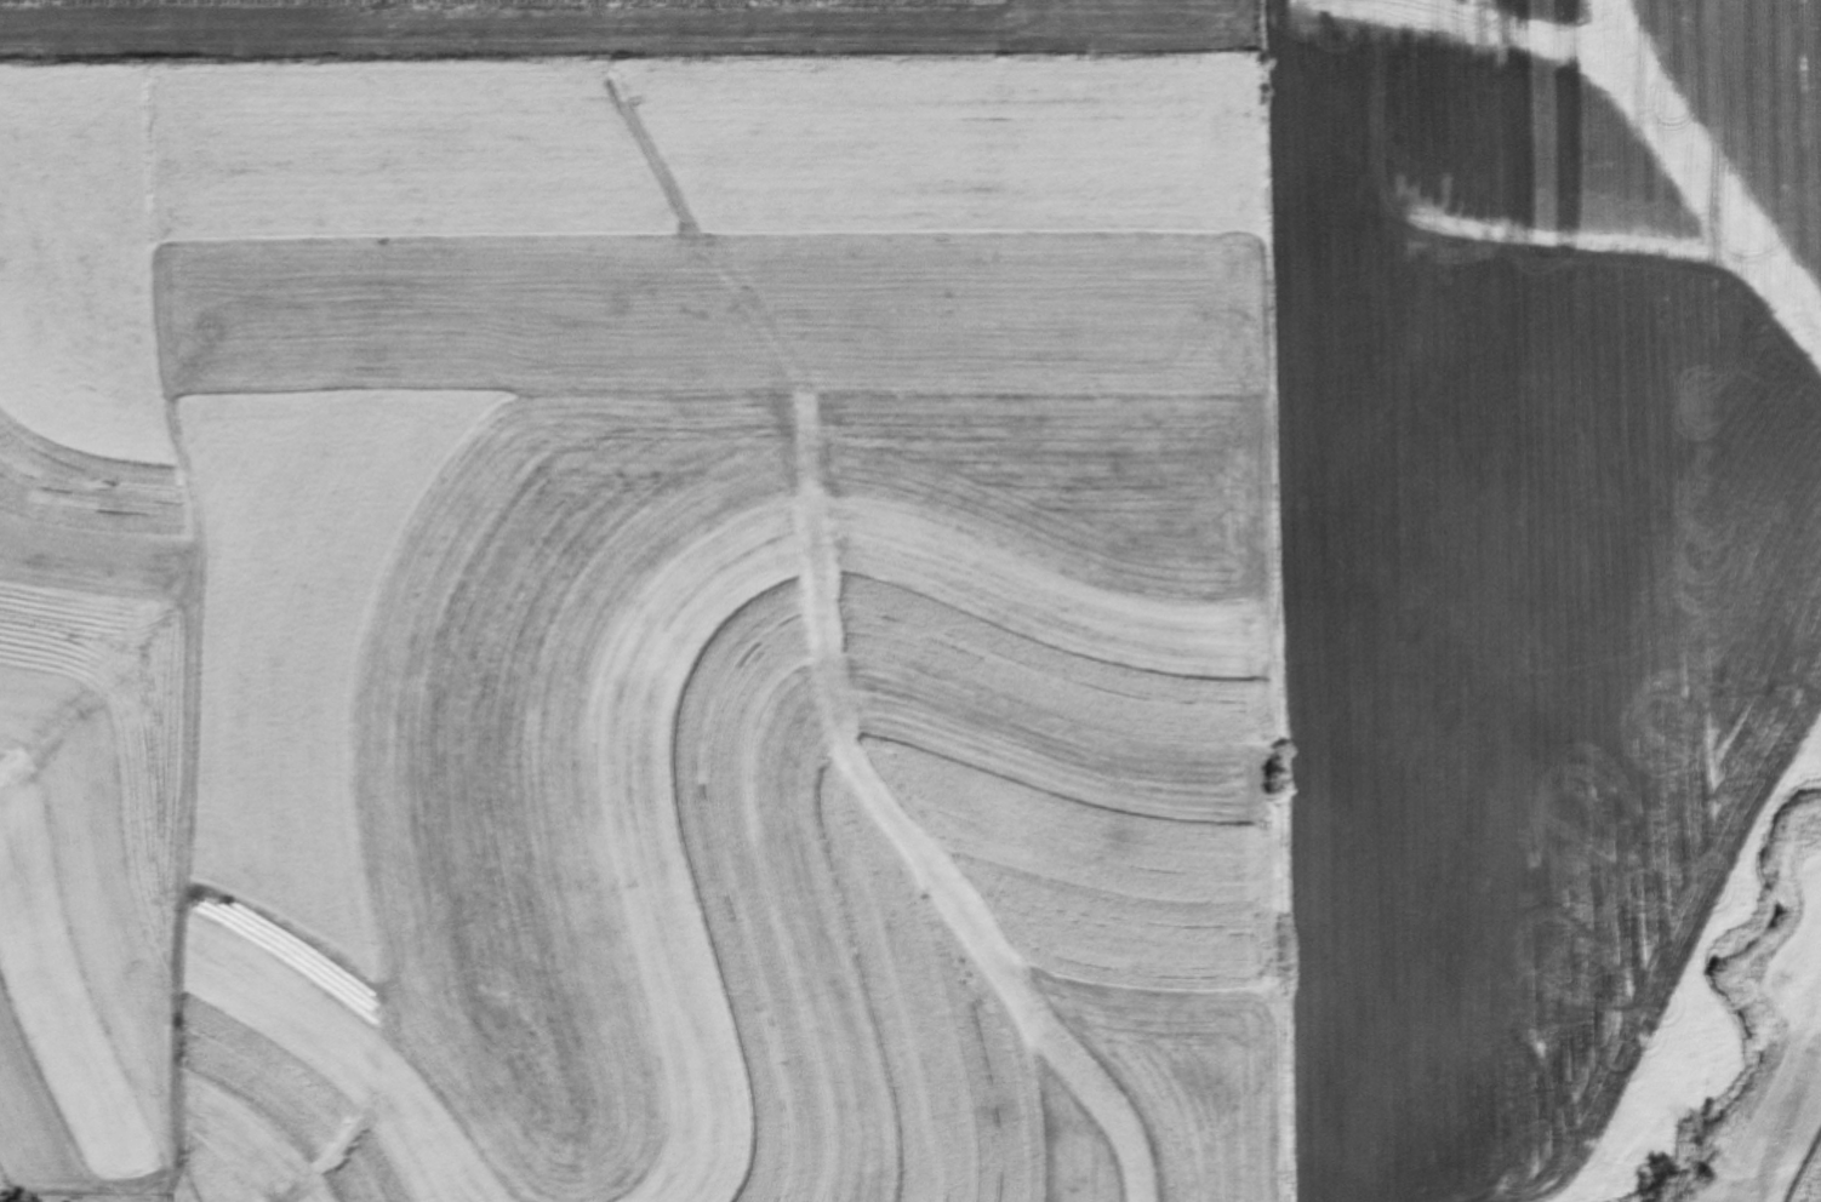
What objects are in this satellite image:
building: (19, 1200)

